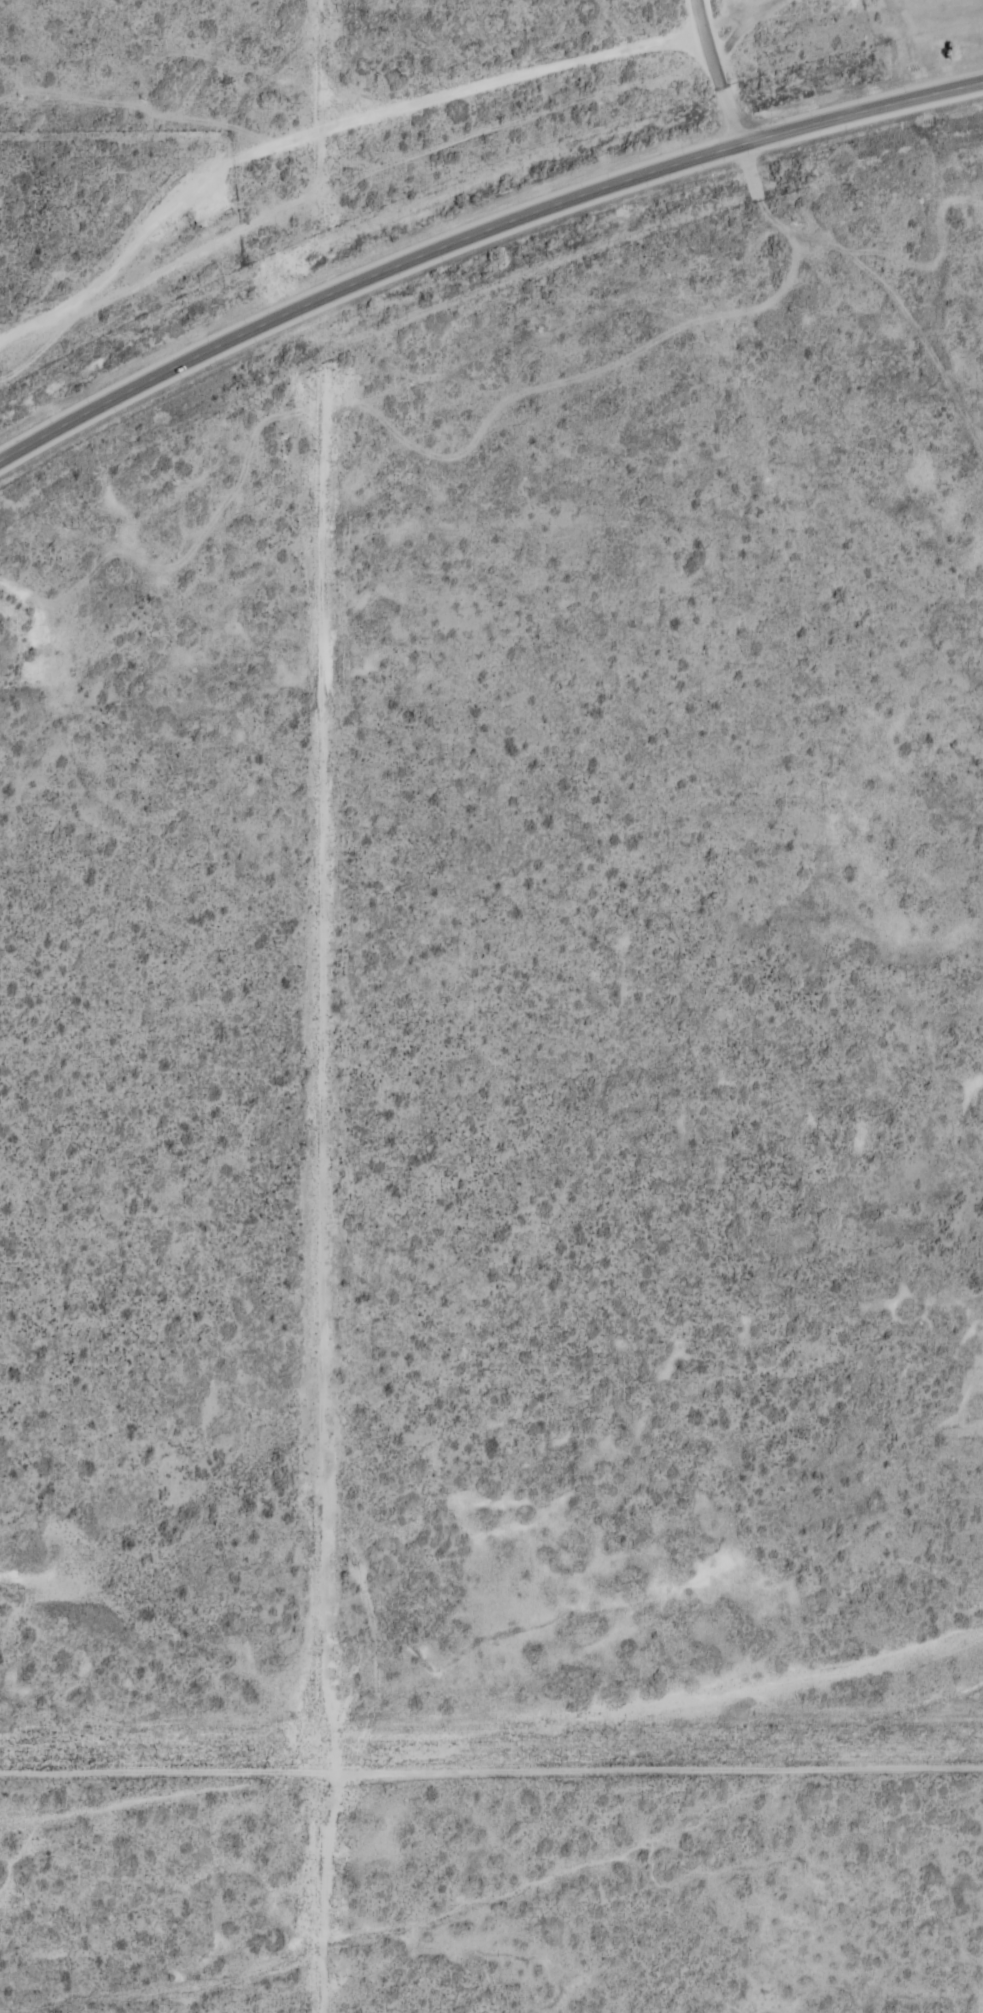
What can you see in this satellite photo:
road: (747, 26)
road: (721, 76)
road: (476, 241)
road: (837, 390)

